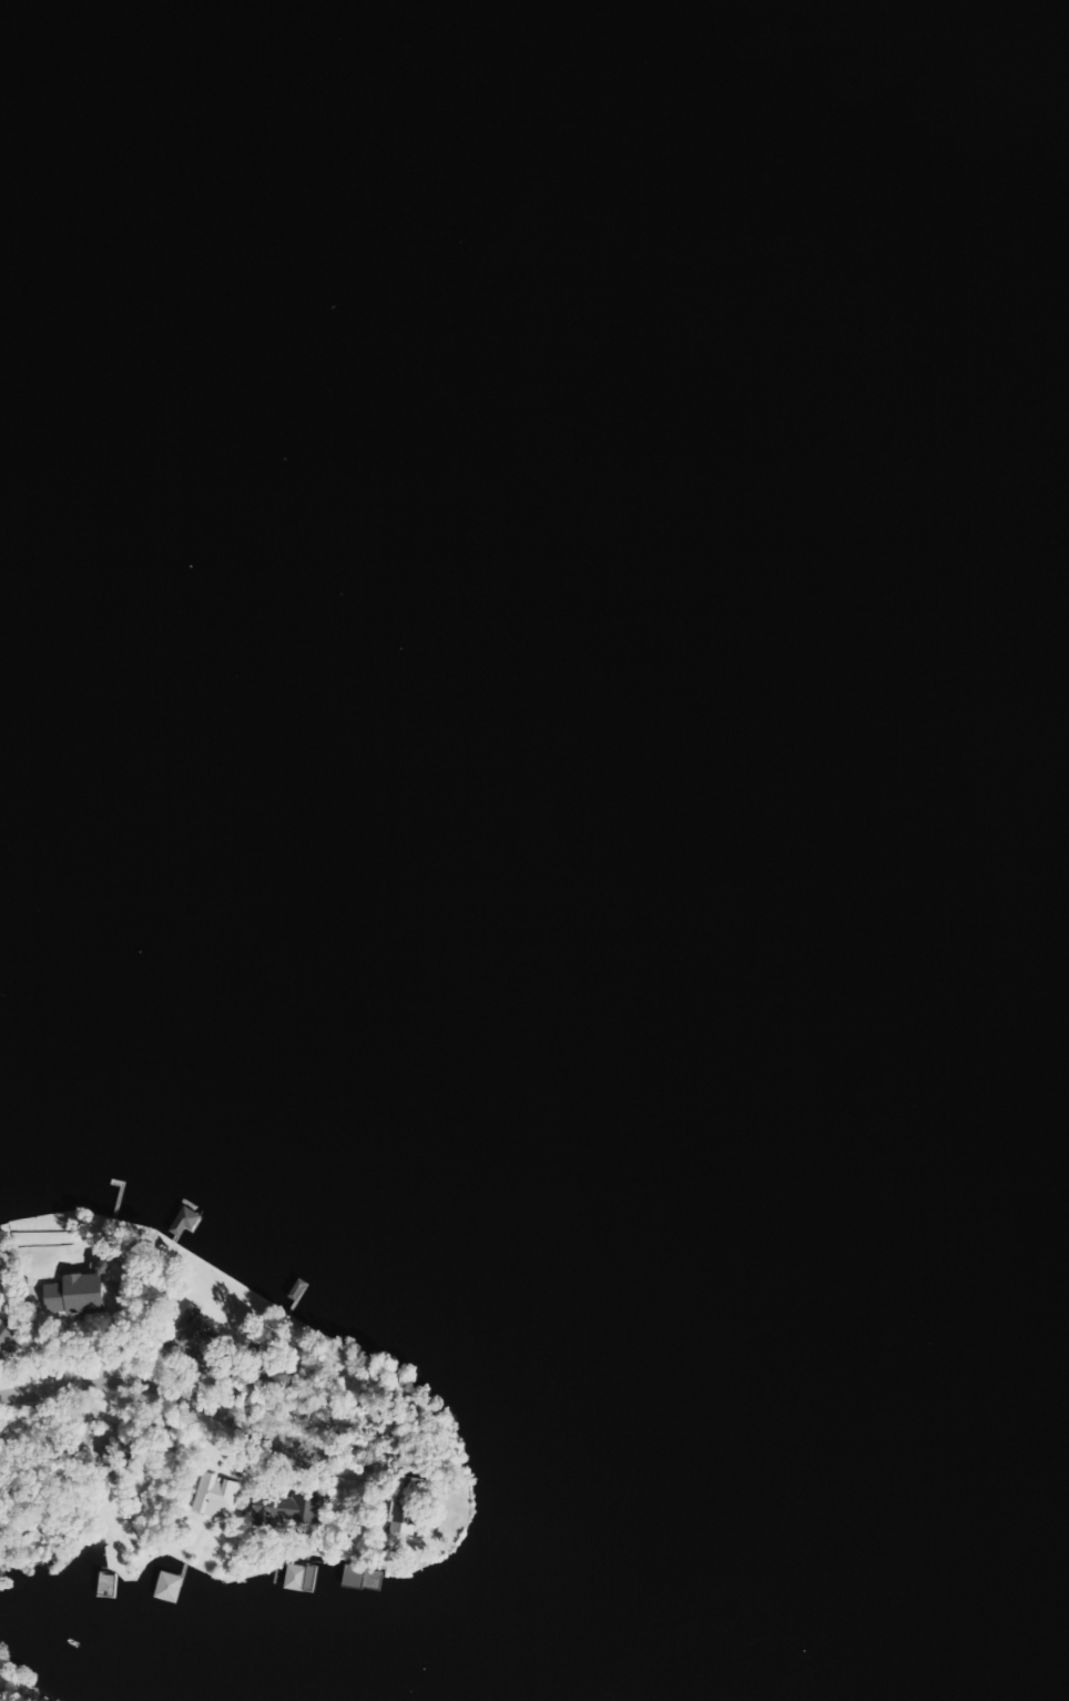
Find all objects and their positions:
building: (73, 1293)
road: (14, 1329)
building: (6, 1340)
building: (193, 1340)
building: (269, 1371)
road: (27, 1381)
building: (115, 1452)
building: (212, 1496)
building: (403, 1500)
building: (283, 1508)
building: (358, 1578)

